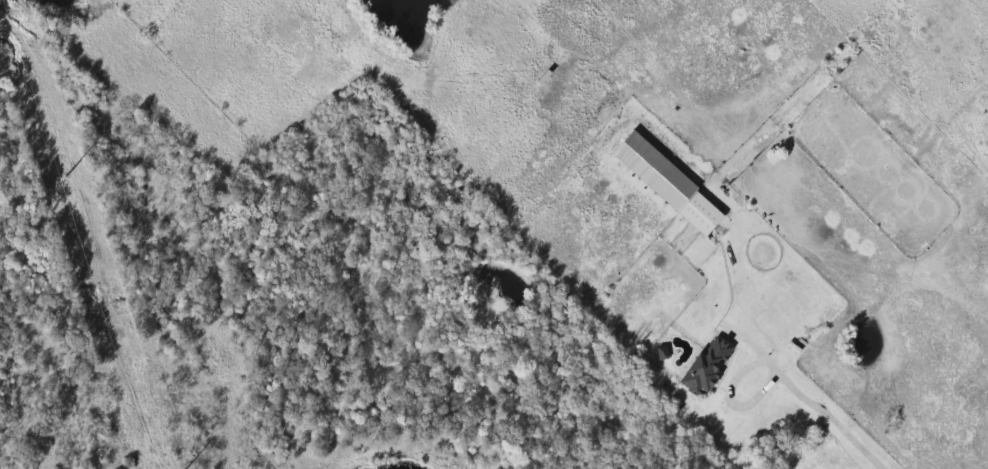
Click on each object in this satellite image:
power tower: (66, 179)
building: (667, 184)
building: (707, 366)
road: (831, 419)

